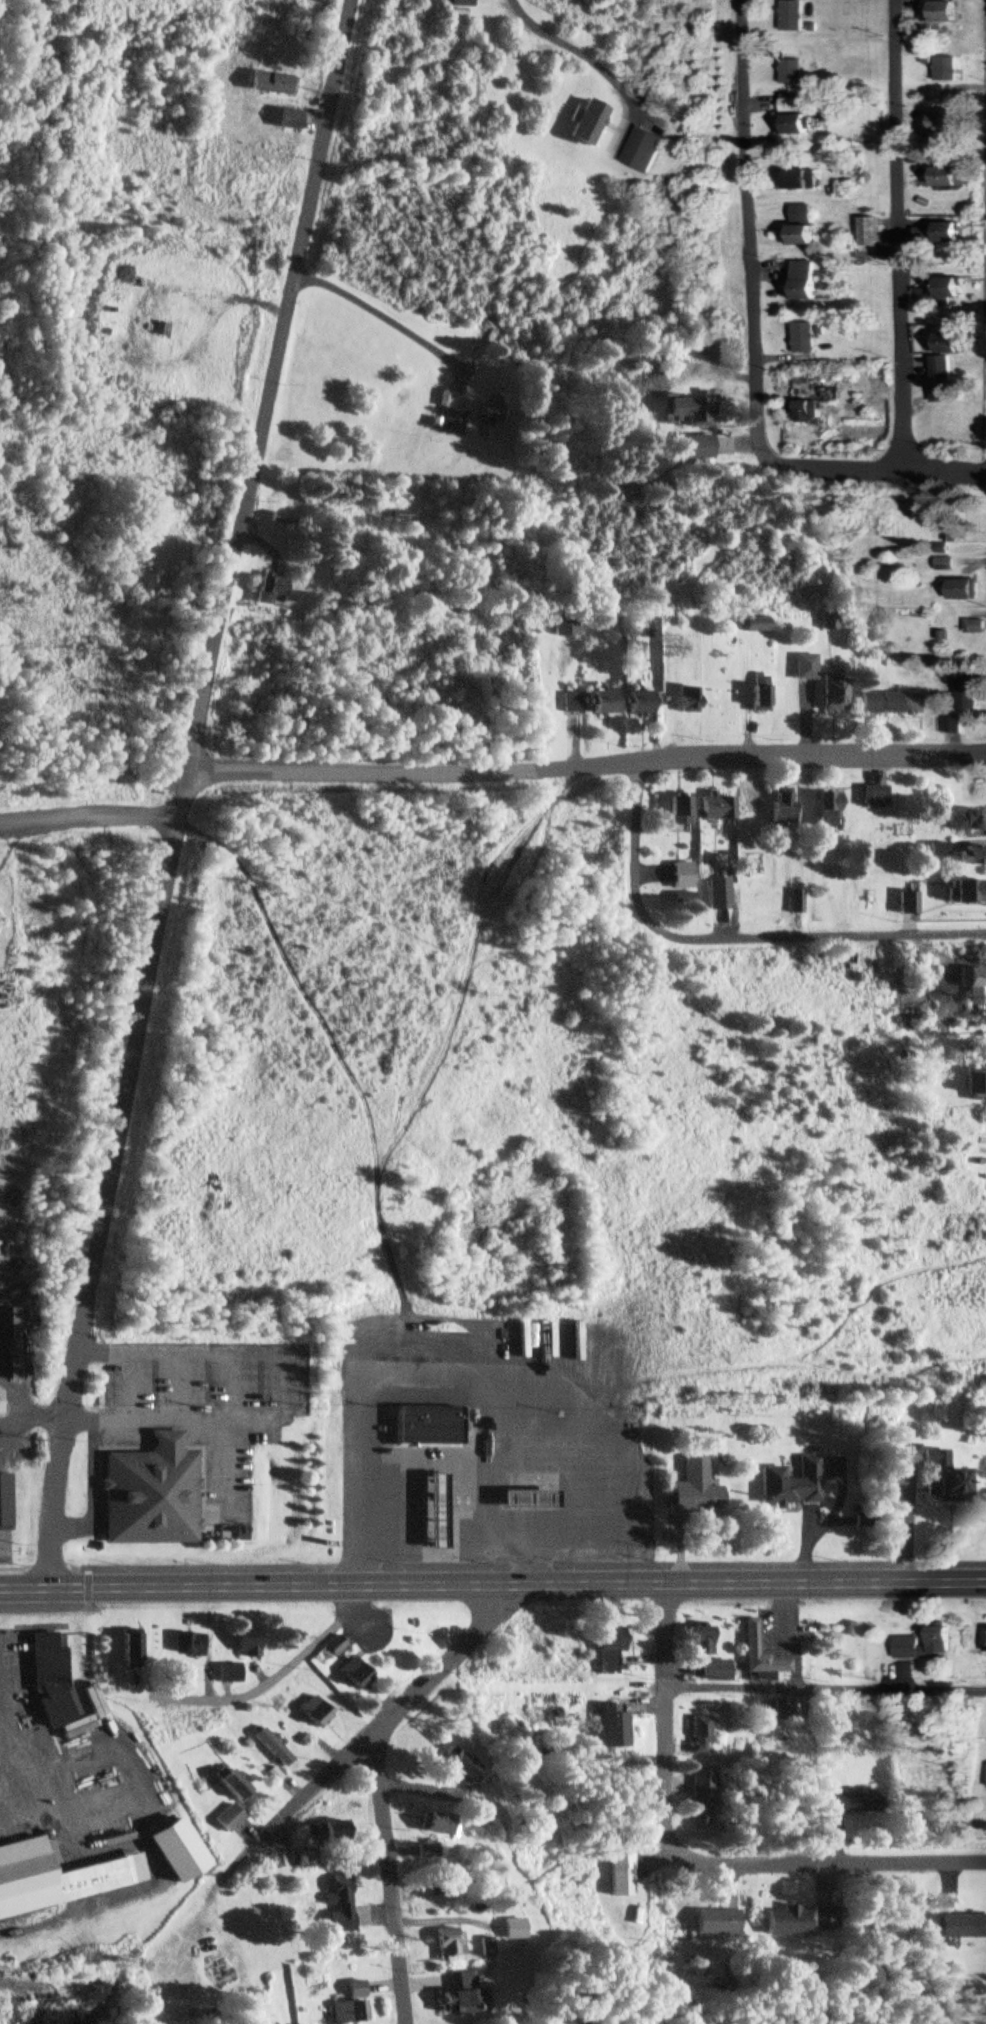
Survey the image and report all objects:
building: (942, 13)
building: (794, 17)
building: (946, 71)
building: (794, 73)
building: (271, 84)
building: (795, 116)
building: (287, 120)
building: (582, 124)
building: (944, 124)
building: (643, 151)
building: (947, 179)
building: (801, 181)
building: (801, 227)
road: (747, 233)
building: (869, 233)
road: (902, 235)
building: (946, 235)
building: (801, 281)
building: (943, 291)
building: (803, 338)
building: (943, 356)
road: (268, 386)
building: (939, 395)
building: (686, 409)
building: (803, 412)
building: (487, 414)
building: (453, 421)
building: (694, 446)
road: (875, 468)
building: (277, 518)
building: (948, 565)
building: (964, 589)
building: (271, 592)
building: (822, 619)
building: (561, 625)
building: (748, 625)
building: (976, 627)
building: (799, 668)
building: (754, 693)
building: (827, 694)
building: (967, 696)
building: (682, 700)
building: (568, 702)
building: (634, 702)
building: (600, 703)
building: (883, 704)
building: (952, 725)
road: (587, 762)
building: (869, 797)
building: (777, 807)
building: (712, 808)
building: (675, 810)
building: (822, 810)
road: (90, 812)
building: (964, 821)
building: (967, 856)
building: (677, 875)
building: (963, 891)
building: (716, 893)
building: (794, 902)
building: (905, 903)
road: (731, 937)
building: (973, 983)
building: (979, 1060)
building: (968, 1084)
road: (106, 1180)
building: (8, 1344)
building: (593, 1351)
building: (425, 1418)
building: (933, 1474)
building: (789, 1484)
building: (145, 1487)
building: (693, 1489)
building: (524, 1493)
gas station: (524, 1493)
building: (3, 1503)
building: (431, 1505)
gas station: (431, 1505)
road: (474, 1568)
road: (964, 1583)
road: (471, 1586)
building: (749, 1636)
building: (904, 1641)
building: (698, 1642)
building: (243, 1644)
building: (184, 1646)
building: (330, 1647)
building: (604, 1647)
building: (125, 1651)
building: (713, 1671)
building: (224, 1674)
building: (350, 1674)
power tower: (106, 1683)
building: (57, 1692)
building: (778, 1710)
building: (310, 1713)
road: (386, 1715)
road: (658, 1717)
building: (608, 1727)
building: (695, 1736)
building: (267, 1747)
building: (449, 1765)
building: (228, 1786)
building: (696, 1799)
building: (848, 1801)
building: (224, 1819)
building: (429, 1824)
building: (324, 1833)
road: (825, 1863)
building: (615, 1875)
building: (61, 1878)
building: (430, 1879)
road: (382, 1880)
power tower: (260, 1885)
building: (334, 1905)
building: (818, 1919)
building: (711, 1923)
building: (782, 1923)
building: (959, 1927)
building: (508, 1931)
building: (442, 1944)
building: (453, 1996)

